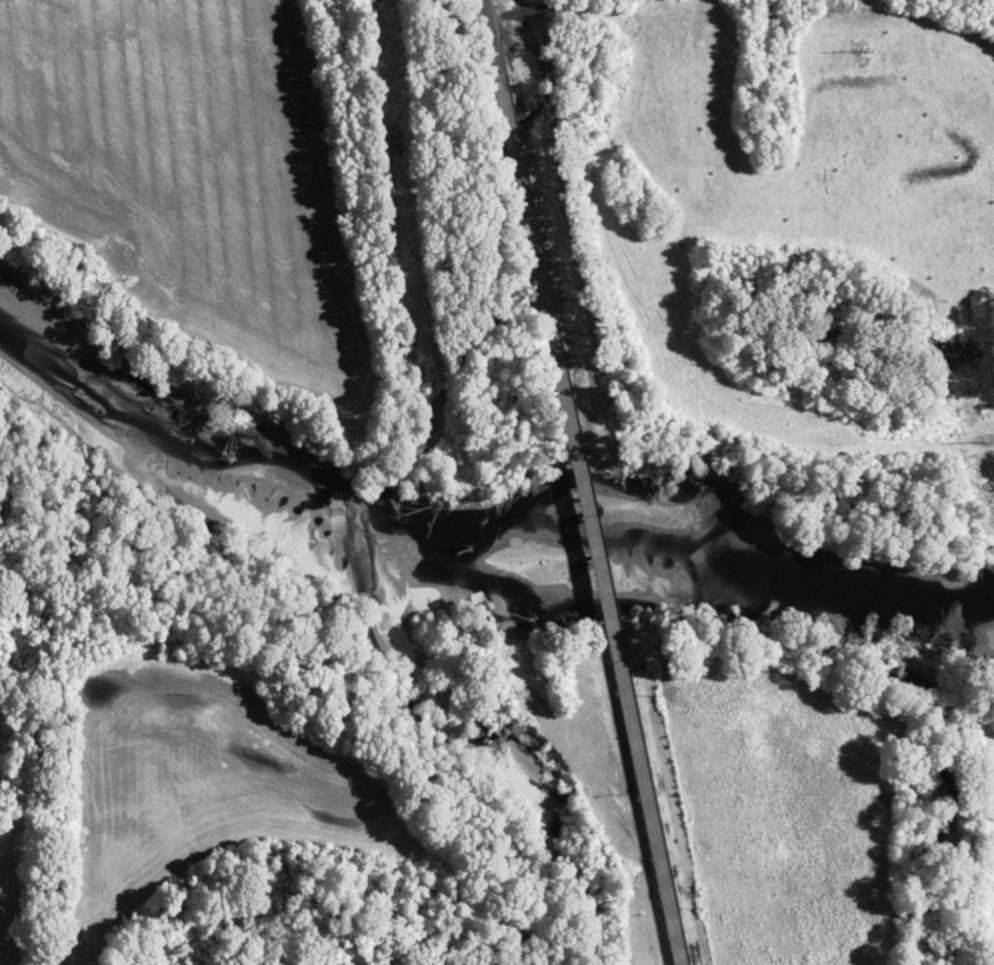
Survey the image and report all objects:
road: (491, 37)
power tower: (865, 50)
power tower: (982, 442)
road: (590, 520)
river: (469, 549)
building: (676, 935)

